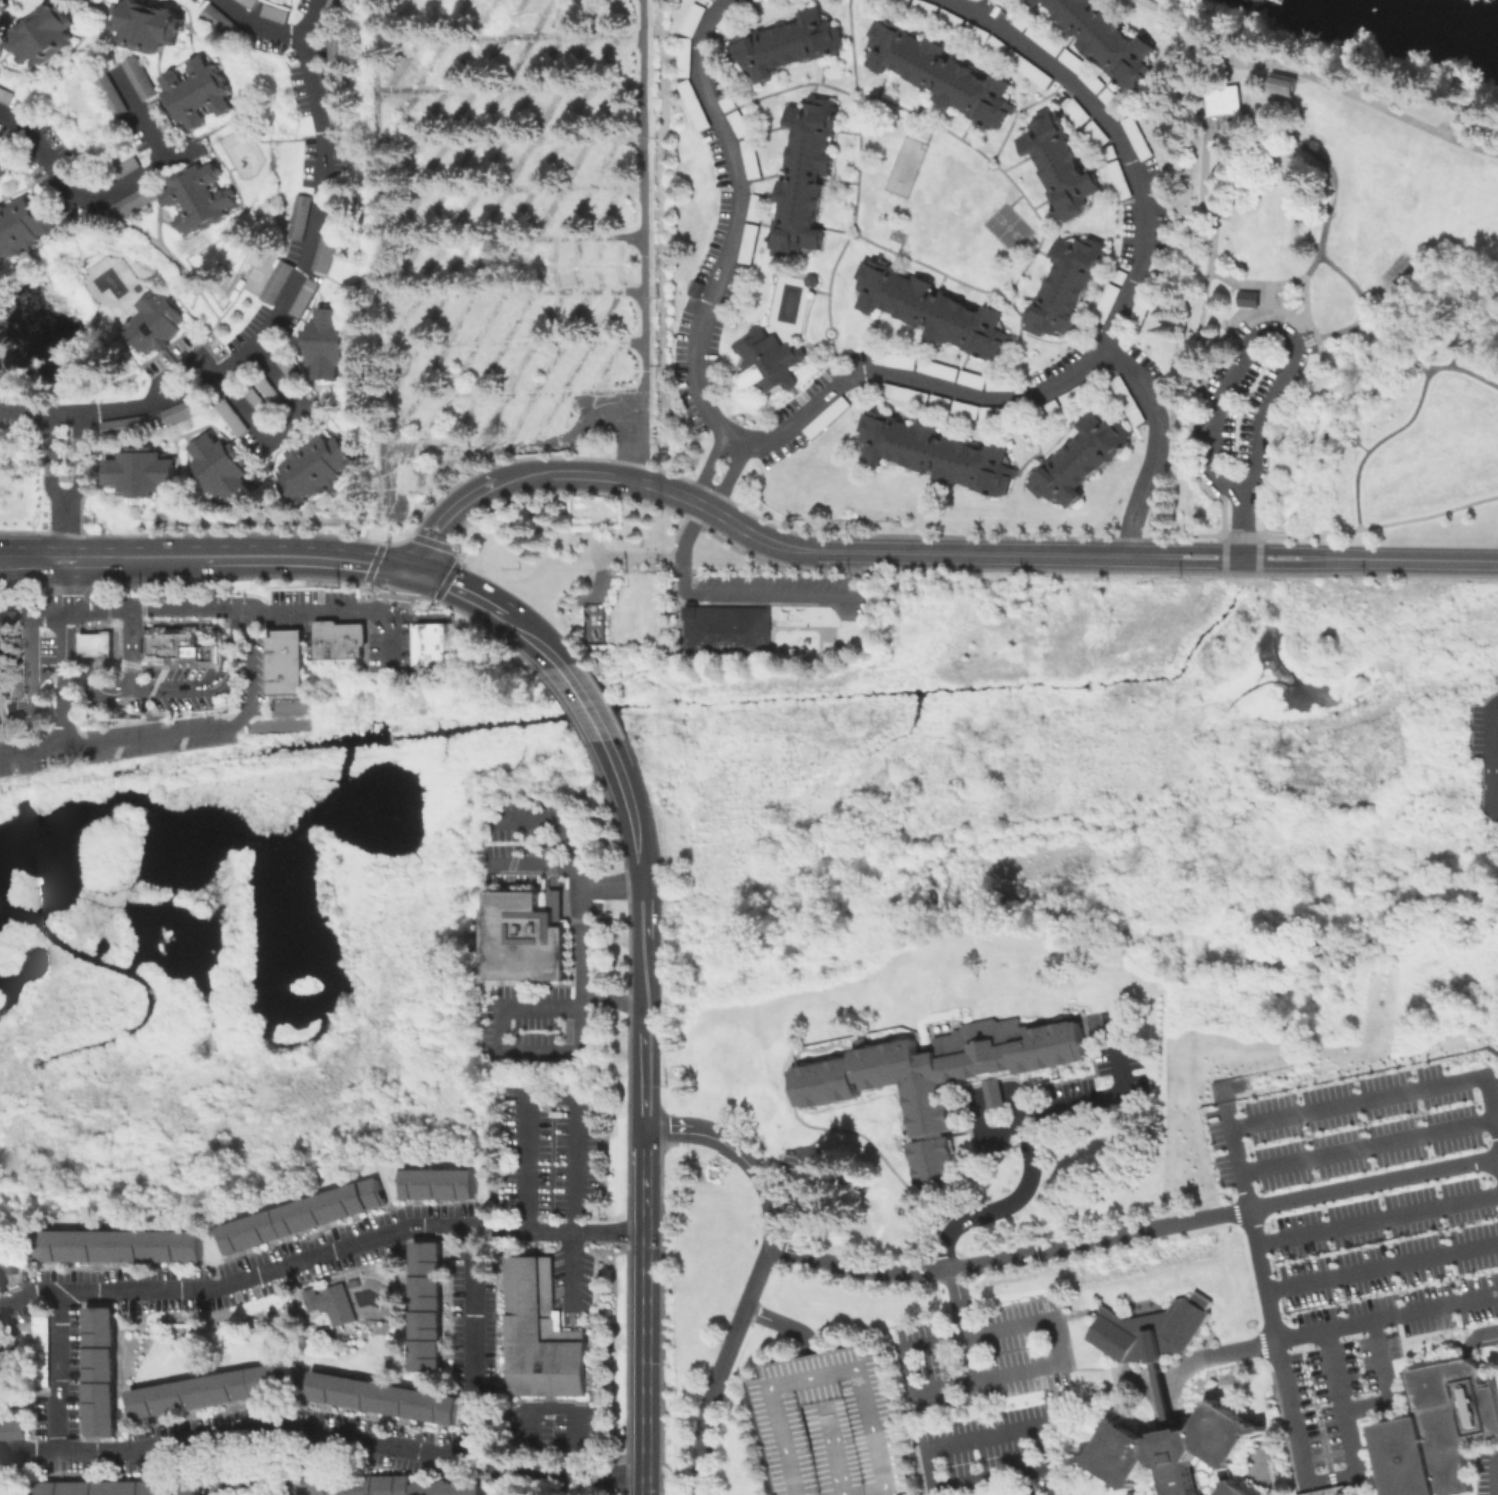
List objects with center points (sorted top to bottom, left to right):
building: (15, 0)
building: (760, 1)
road: (714, 2)
road: (1152, 2)
building: (901, 3)
building: (250, 4)
building: (926, 9)
river: (1453, 11)
building: (333, 12)
building: (277, 15)
building: (736, 16)
road: (1245, 18)
building: (950, 19)
road: (1031, 19)
building: (223, 20)
building: (694, 21)
building: (1022, 24)
road: (261, 25)
building: (151, 27)
road: (1239, 30)
building: (2, 33)
building: (977, 34)
building: (50, 36)
parking lot: (975, 37)
parking lot: (725, 39)
road: (811, 40)
road: (1070, 40)
building: (1108, 41)
building: (1046, 42)
road: (851, 43)
road: (764, 45)
building: (789, 46)
building: (998, 47)
building: (337, 49)
road: (894, 49)
road: (1171, 51)
parking lot: (1057, 52)
building: (684, 58)
road: (941, 61)
building: (1075, 63)
building: (1030, 70)
building: (943, 76)
road: (1317, 76)
road: (1111, 78)
building: (146, 80)
building: (1095, 82)
building: (1283, 85)
road: (813, 88)
road: (781, 89)
road: (988, 89)
road: (1199, 92)
road: (849, 94)
building: (204, 95)
building: (9, 97)
building: (119, 98)
road: (1135, 100)
building: (1225, 100)
building: (1114, 101)
building: (728, 105)
building: (695, 107)
road: (1021, 108)
building: (1079, 111)
building: (339, 113)
road: (147, 117)
road: (927, 119)
building: (171, 120)
building: (739, 126)
road: (791, 127)
road: (929, 132)
building: (1099, 134)
parking lot: (741, 137)
building: (1141, 139)
road: (1051, 144)
building: (1111, 153)
road: (987, 157)
building: (752, 163)
road: (857, 163)
building: (1060, 165)
building: (131, 170)
building: (6, 171)
building: (807, 176)
road: (796, 177)
road: (1078, 178)
road: (1324, 180)
building: (1122, 182)
road: (89, 196)
building: (205, 197)
road: (1014, 199)
building: (142, 202)
building: (756, 208)
parking lot: (1128, 209)
building: (302, 220)
road: (1040, 221)
road: (729, 223)
road: (789, 227)
road: (854, 227)
park: (1007, 227)
building: (28, 230)
parking lot: (1159, 232)
parking lot: (715, 235)
road: (660, 243)
road: (1208, 244)
building: (750, 247)
road: (1141, 250)
building: (328, 251)
road: (929, 266)
building: (530, 268)
road: (1081, 269)
building: (1121, 276)
parking lot: (733, 278)
road: (829, 278)
building: (279, 284)
road: (1004, 286)
building: (1067, 288)
building: (696, 290)
road: (814, 290)
park: (1329, 292)
building: (1149, 293)
building: (1247, 298)
building: (308, 300)
building: (1108, 305)
road: (283, 309)
road: (1304, 311)
road: (1274, 312)
building: (934, 314)
road: (1064, 315)
road: (875, 317)
road: (924, 324)
building: (156, 325)
road: (828, 326)
road: (1344, 328)
road: (1268, 333)
road: (1461, 336)
road: (1203, 341)
road: (1019, 342)
building: (328, 345)
road: (1402, 353)
road: (805, 357)
road: (836, 358)
road: (1452, 358)
building: (898, 360)
building: (768, 363)
parking lot: (1055, 365)
road: (1425, 365)
building: (291, 367)
parking lot: (1146, 368)
parking lot: (935, 370)
building: (939, 371)
road: (958, 374)
road: (913, 378)
building: (972, 381)
building: (1002, 386)
parking lot: (803, 393)
building: (1081, 393)
building: (908, 395)
building: (265, 396)
building: (1128, 401)
parking lot: (1244, 402)
parking lot: (947, 403)
building: (941, 404)
road: (1186, 408)
road: (892, 409)
building: (1055, 409)
building: (187, 412)
building: (967, 412)
building: (1011, 414)
building: (988, 415)
building: (829, 418)
building: (234, 419)
road: (1071, 419)
road: (1407, 420)
road: (290, 427)
building: (126, 428)
parking lot: (803, 432)
road: (1349, 435)
road: (1035, 438)
road: (501, 447)
road: (1361, 447)
road: (631, 453)
building: (940, 456)
road: (50, 461)
road: (80, 461)
building: (1083, 462)
road: (1051, 465)
road: (706, 467)
building: (222, 470)
building: (317, 470)
building: (143, 473)
road: (602, 477)
road: (726, 478)
building: (419, 479)
road: (1222, 497)
road: (1242, 524)
road: (1379, 524)
road: (65, 529)
road: (1250, 535)
road: (306, 556)
road: (1158, 556)
road: (122, 557)
road: (23, 558)
traffic signals: (413, 572)
road: (462, 589)
parking lot: (782, 590)
road: (749, 594)
parking lot: (312, 604)
road: (220, 610)
road: (132, 616)
road: (93, 620)
road: (208, 622)
building: (594, 622)
road: (6, 625)
road: (525, 629)
building: (728, 633)
building: (338, 639)
building: (167, 642)
road: (92, 643)
building: (94, 643)
parking lot: (389, 644)
building: (430, 644)
road: (391, 646)
road: (549, 654)
building: (284, 661)
building: (6, 667)
road: (6, 667)
road: (63, 677)
road: (187, 687)
road: (99, 688)
road: (29, 690)
road: (585, 699)
road: (204, 728)
parking lot: (155, 734)
parking lot: (1485, 750)
parking lot: (38, 753)
road: (1490, 758)
road: (616, 759)
road: (562, 823)
road: (636, 831)
road: (532, 865)
road: (655, 907)
road: (582, 911)
building: (529, 938)
road: (635, 959)
road: (655, 985)
road: (610, 999)
parking lot: (1115, 1048)
road: (500, 1049)
building: (945, 1081)
road: (645, 1082)
parking lot: (1060, 1090)
road: (995, 1092)
road: (1103, 1095)
road: (1338, 1104)
road: (1019, 1107)
road: (576, 1108)
road: (982, 1128)
parking lot: (1352, 1128)
road: (1369, 1147)
parking lot: (549, 1157)
parking lot: (802, 1183)
building: (441, 1185)
building: (305, 1217)
road: (969, 1217)
road: (1377, 1220)
road: (584, 1231)
road: (1134, 1234)
building: (123, 1249)
road: (1382, 1268)
building: (0, 1269)
road: (760, 1273)
road: (262, 1274)
parking lot: (1376, 1289)
building: (431, 1305)
building: (334, 1306)
road: (644, 1312)
road: (1051, 1316)
road: (796, 1330)
building: (1150, 1330)
road: (1325, 1330)
building: (543, 1332)
road: (1480, 1333)
road: (475, 1341)
building: (43, 1343)
building: (5, 1350)
parking lot: (982, 1355)
road: (59, 1371)
building: (101, 1374)
road: (1387, 1384)
building: (214, 1393)
building: (1162, 1398)
building: (386, 1400)
road: (543, 1407)
road: (868, 1407)
road: (780, 1417)
building: (828, 1425)
parking lot: (828, 1425)
road: (288, 1426)
building: (1438, 1429)
building: (13, 1431)
road: (993, 1433)
road: (830, 1436)
road: (1296, 1440)
building: (1174, 1450)
parking lot: (991, 1454)
parking lot: (1486, 1473)
road: (990, 1475)
road: (1496, 1475)
road: (609, 1477)
building: (275, 1482)
building: (406, 1486)
building: (11, 1489)
building: (121, 1489)
road: (865, 1491)
road: (884, 1491)
building: (1328, 1491)

